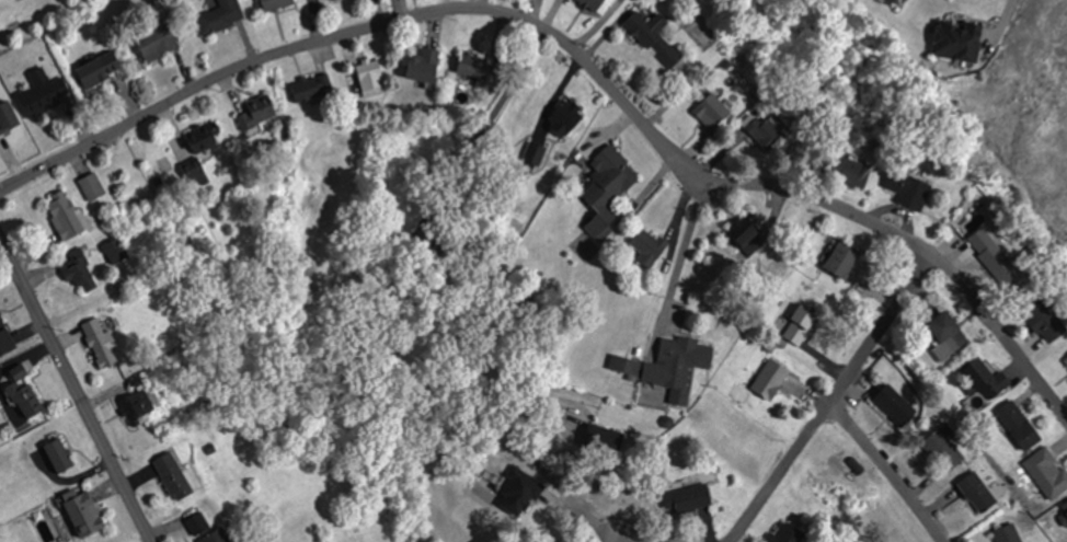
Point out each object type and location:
building: (590, 4)
building: (217, 18)
building: (654, 39)
building: (154, 43)
building: (956, 43)
road: (578, 56)
building: (423, 67)
building: (96, 70)
building: (478, 70)
building: (369, 78)
building: (305, 90)
building: (37, 94)
building: (712, 111)
building: (255, 113)
building: (3, 118)
building: (560, 124)
building: (766, 135)
building: (199, 151)
building: (852, 173)
building: (91, 186)
building: (607, 188)
building: (913, 194)
building: (65, 214)
building: (744, 230)
building: (646, 247)
building: (114, 250)
building: (990, 250)
building: (842, 258)
building: (77, 268)
building: (1044, 320)
building: (799, 323)
building: (946, 334)
building: (4, 337)
building: (99, 341)
building: (1066, 360)
building: (623, 365)
building: (677, 365)
building: (983, 376)
building: (770, 378)
road: (845, 380)
road: (73, 393)
building: (22, 396)
building: (894, 404)
building: (134, 408)
building: (1018, 425)
building: (942, 448)
building: (58, 453)
road: (885, 471)
building: (1047, 472)
building: (172, 474)
building: (519, 487)
building: (976, 493)
building: (689, 497)
building: (1065, 512)
building: (79, 515)
building: (197, 522)
road: (743, 523)
building: (788, 533)
building: (1006, 533)
building: (214, 535)
road: (622, 538)

